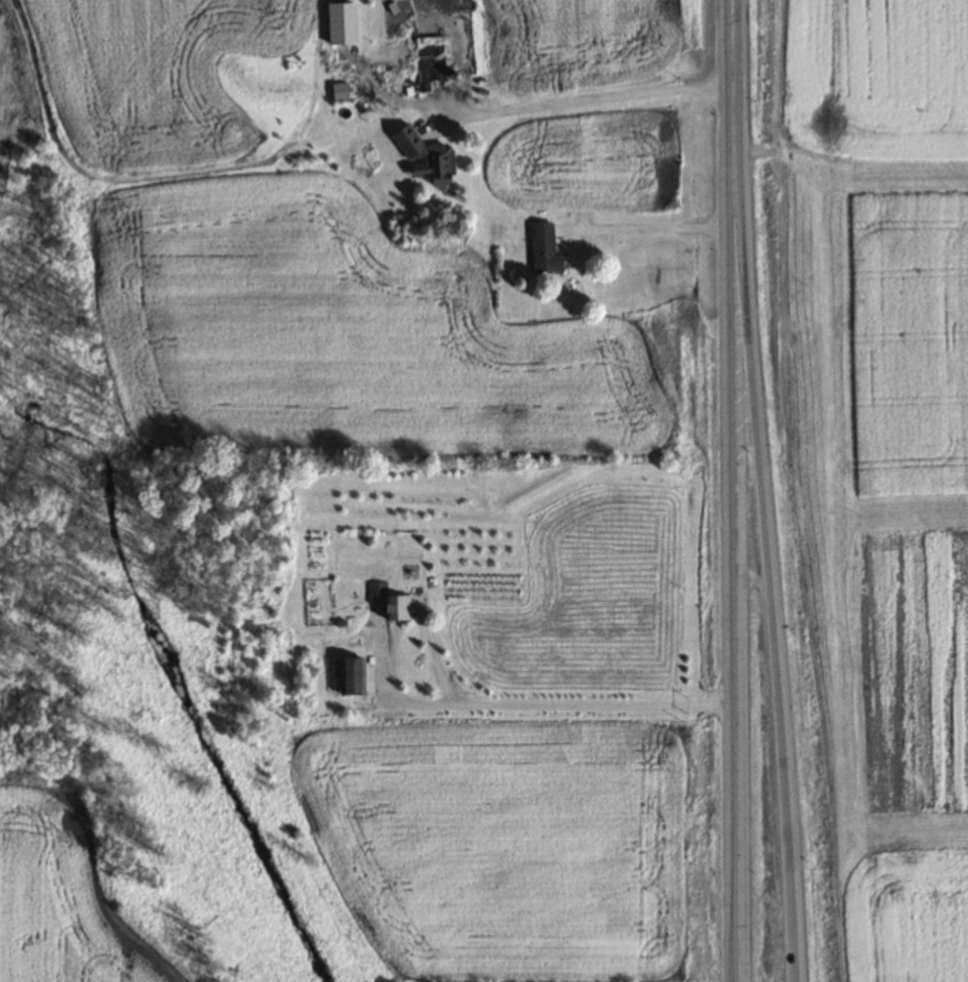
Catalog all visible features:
building: (340, 23)
building: (429, 58)
building: (337, 90)
road: (581, 99)
road: (735, 143)
building: (426, 158)
road: (647, 226)
building: (543, 248)
building: (388, 601)
road: (773, 633)
road: (737, 634)
building: (347, 676)

